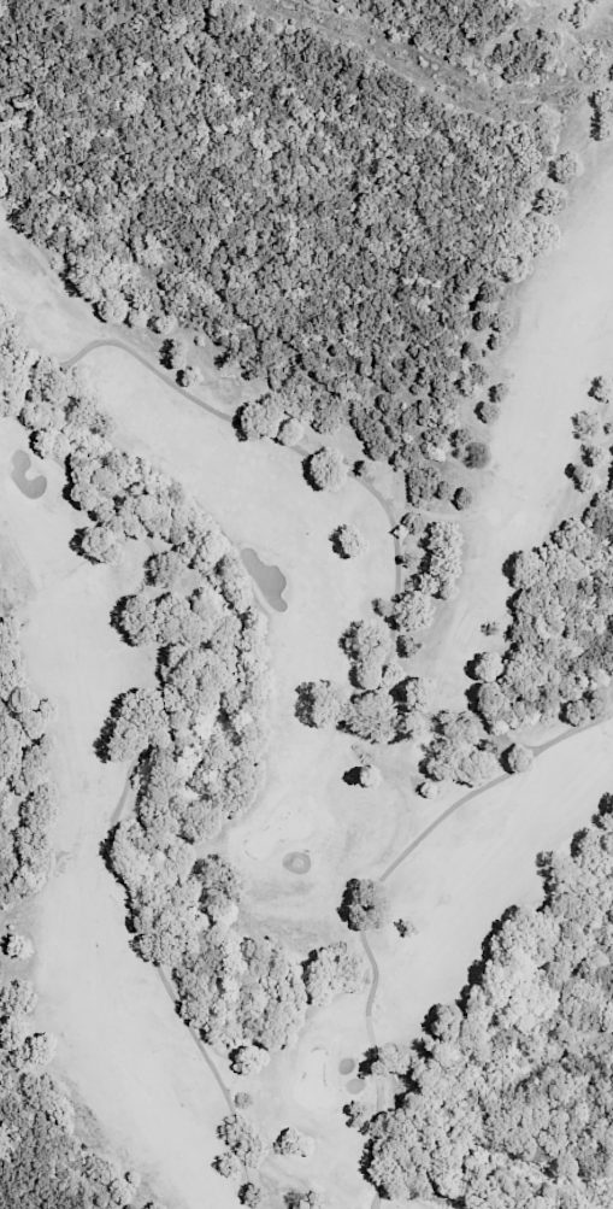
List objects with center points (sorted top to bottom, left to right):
road: (57, 458)
road: (366, 485)
road: (540, 563)
park: (303, 720)
road: (367, 900)
road: (161, 973)

